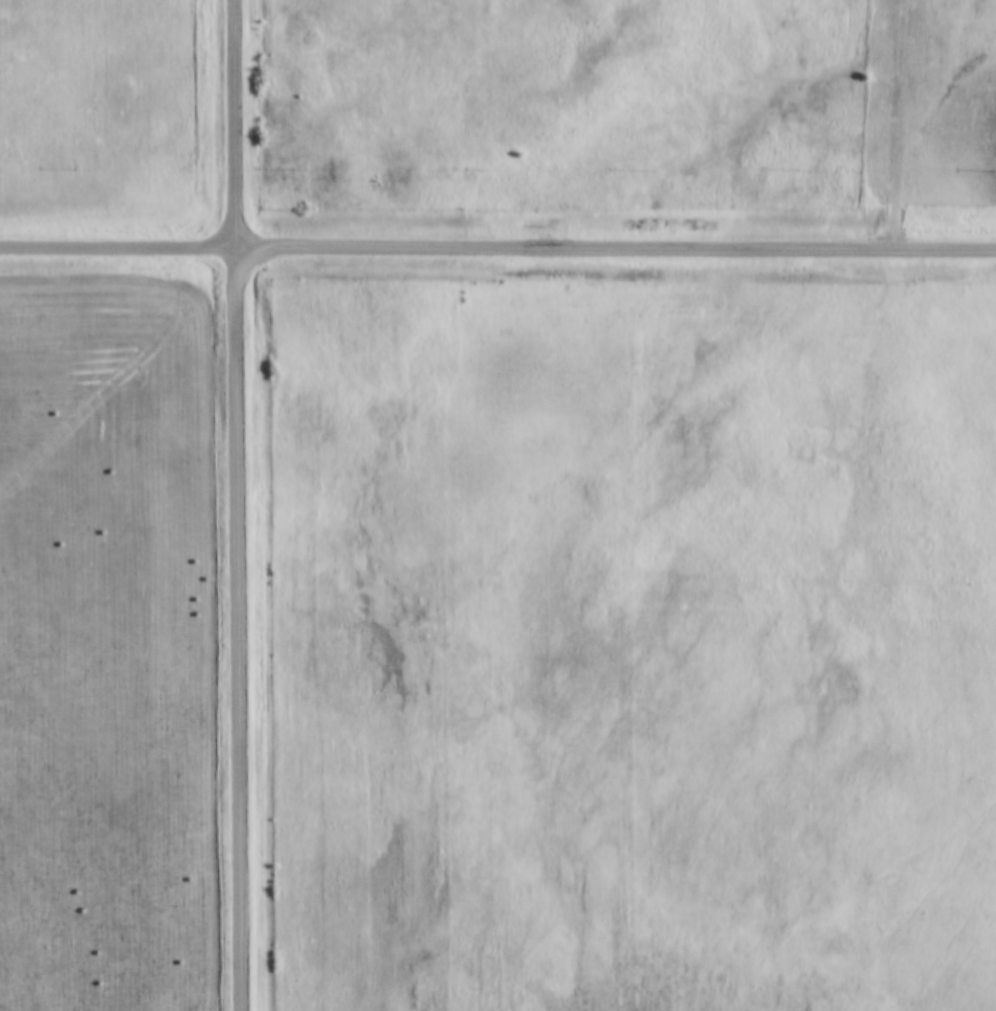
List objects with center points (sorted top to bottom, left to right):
road: (497, 240)
road: (235, 505)

